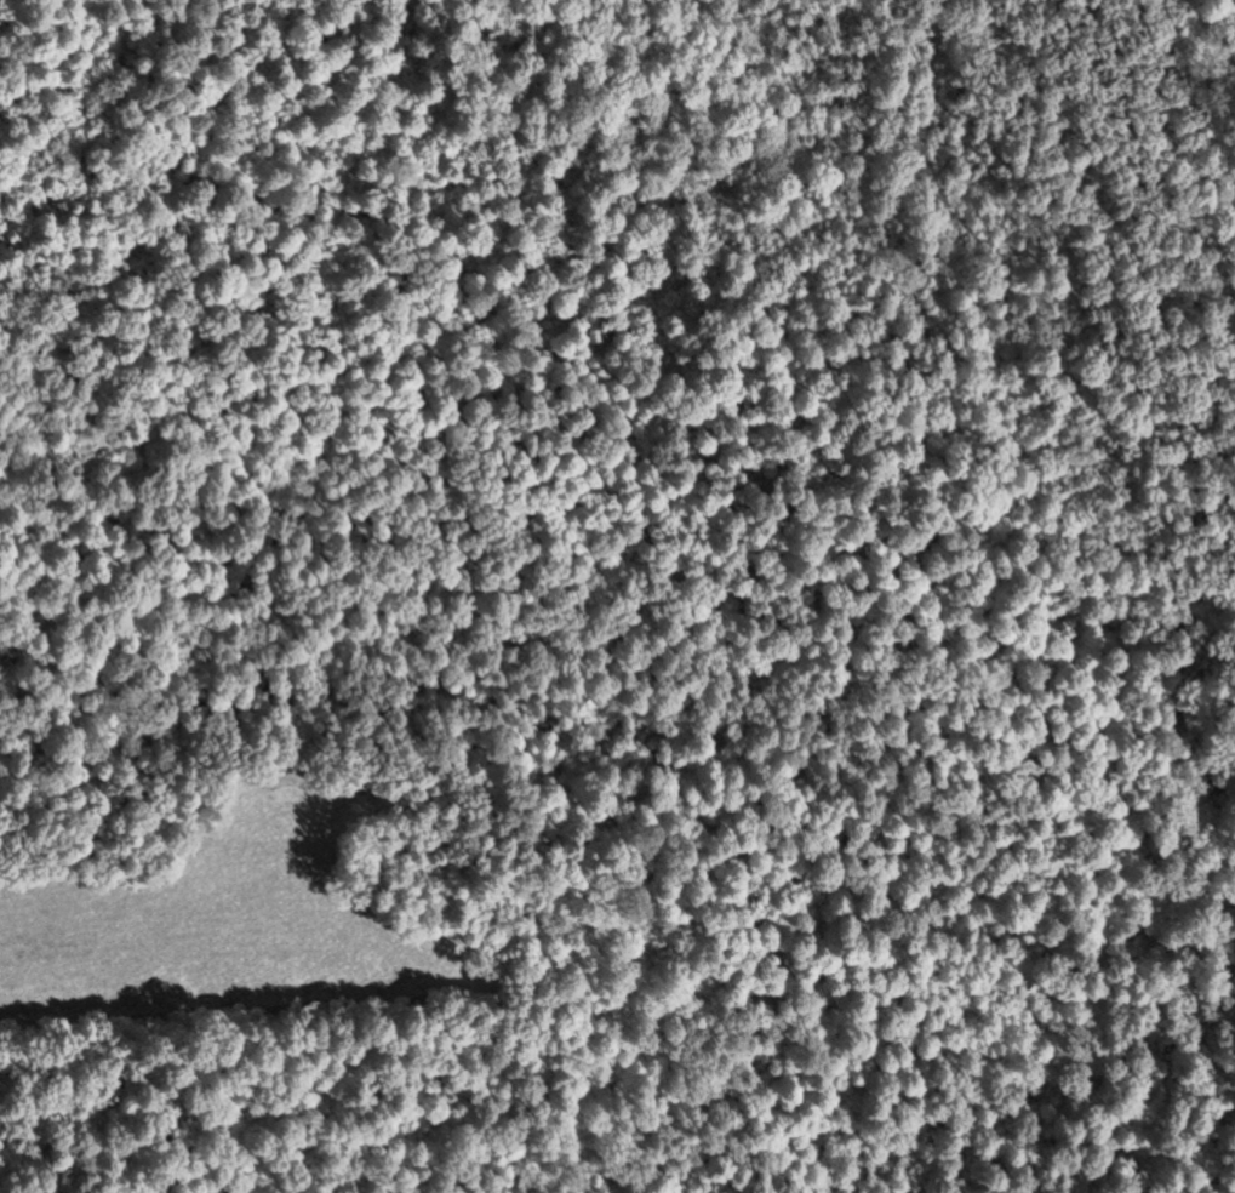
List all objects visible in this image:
road: (1064, 349)
road: (634, 1011)

